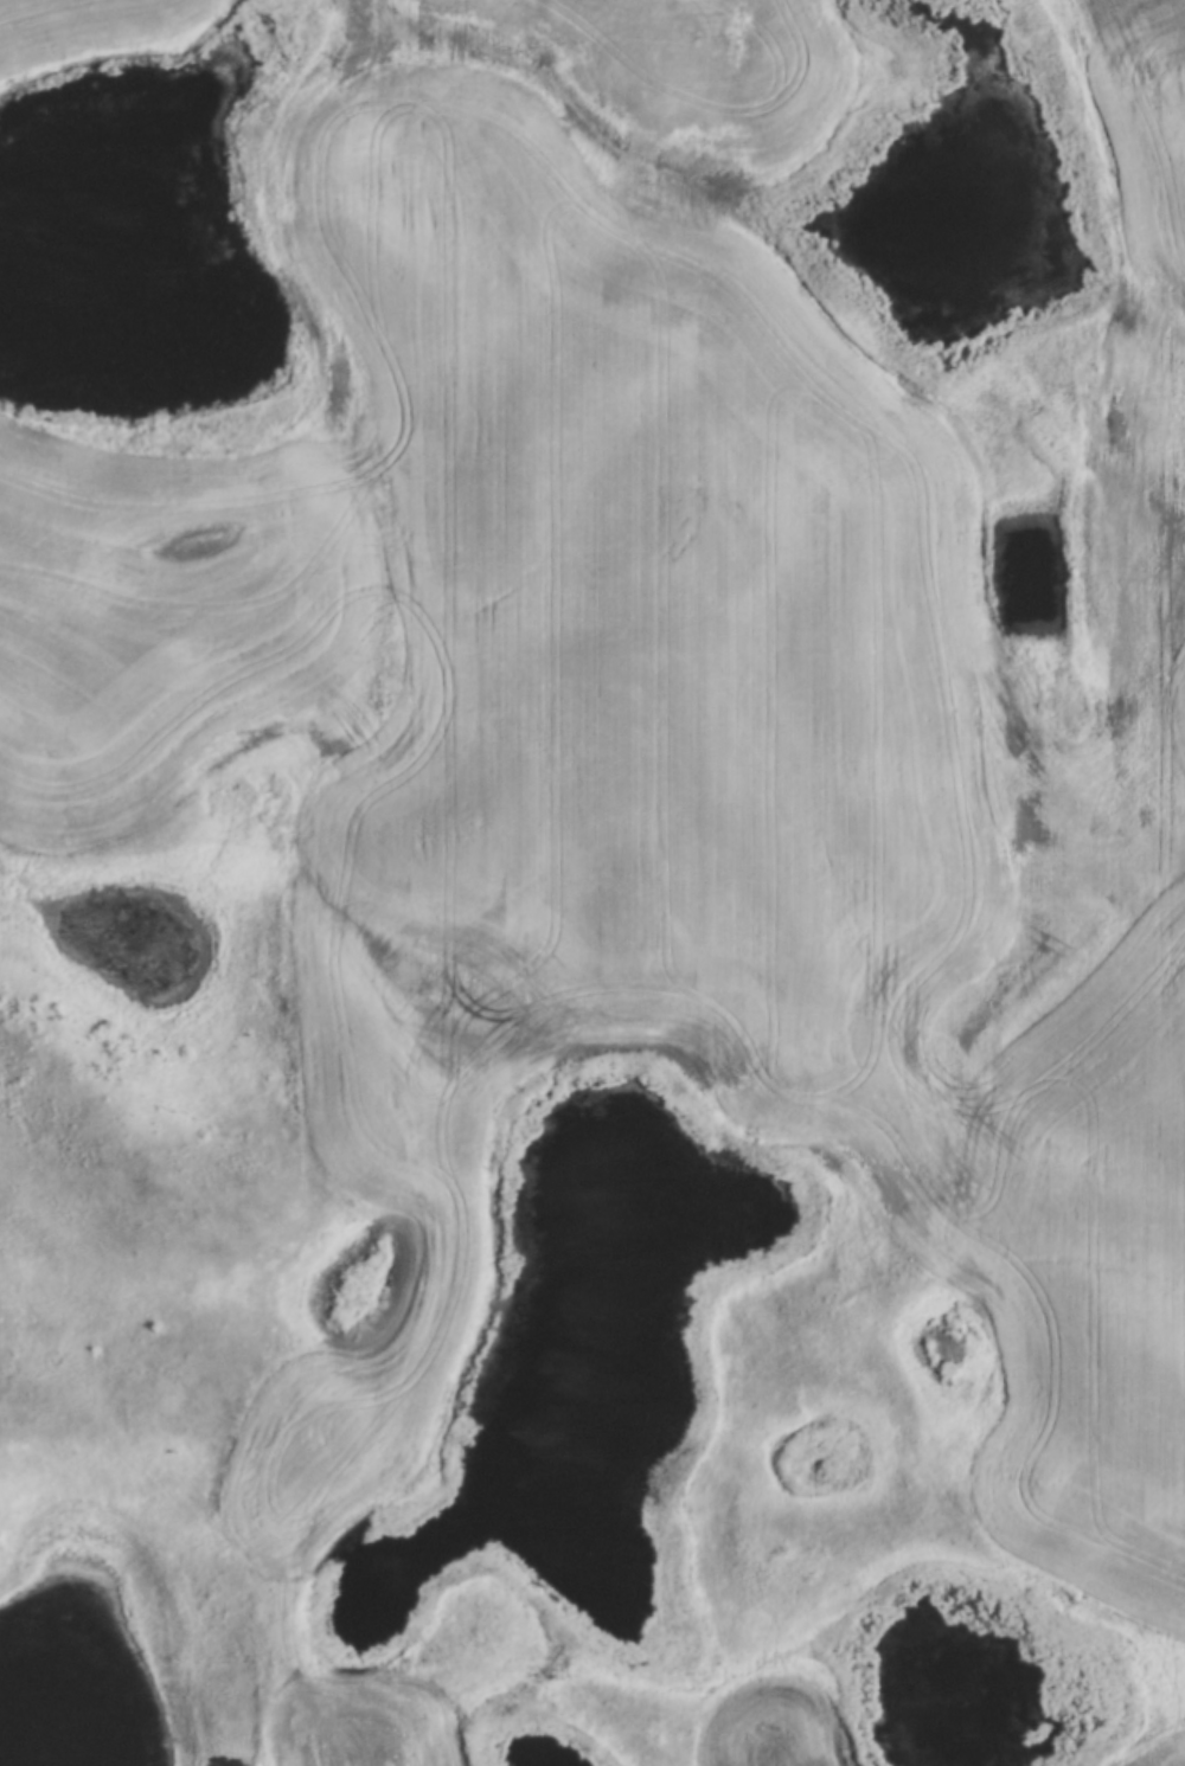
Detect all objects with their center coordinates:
road: (1001, 1425)

